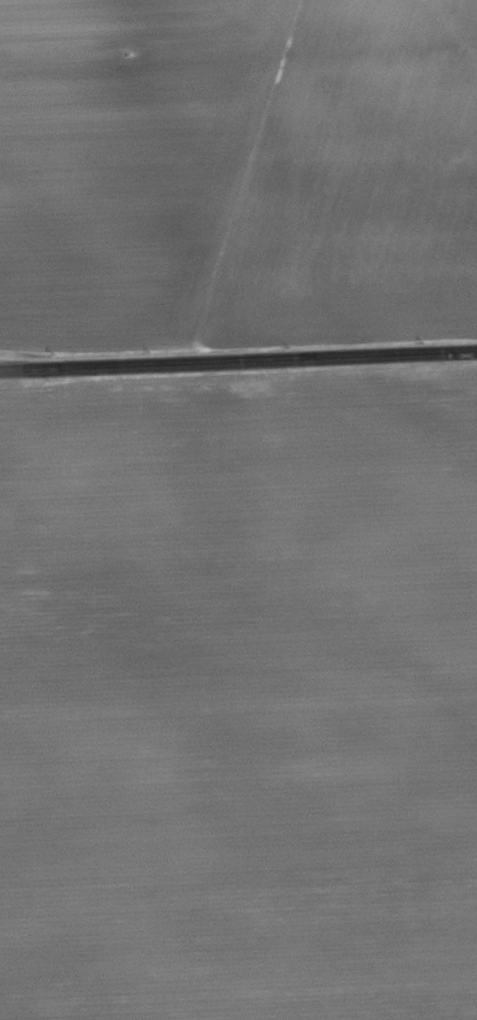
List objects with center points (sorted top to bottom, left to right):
road: (238, 362)
crop: (240, 695)

